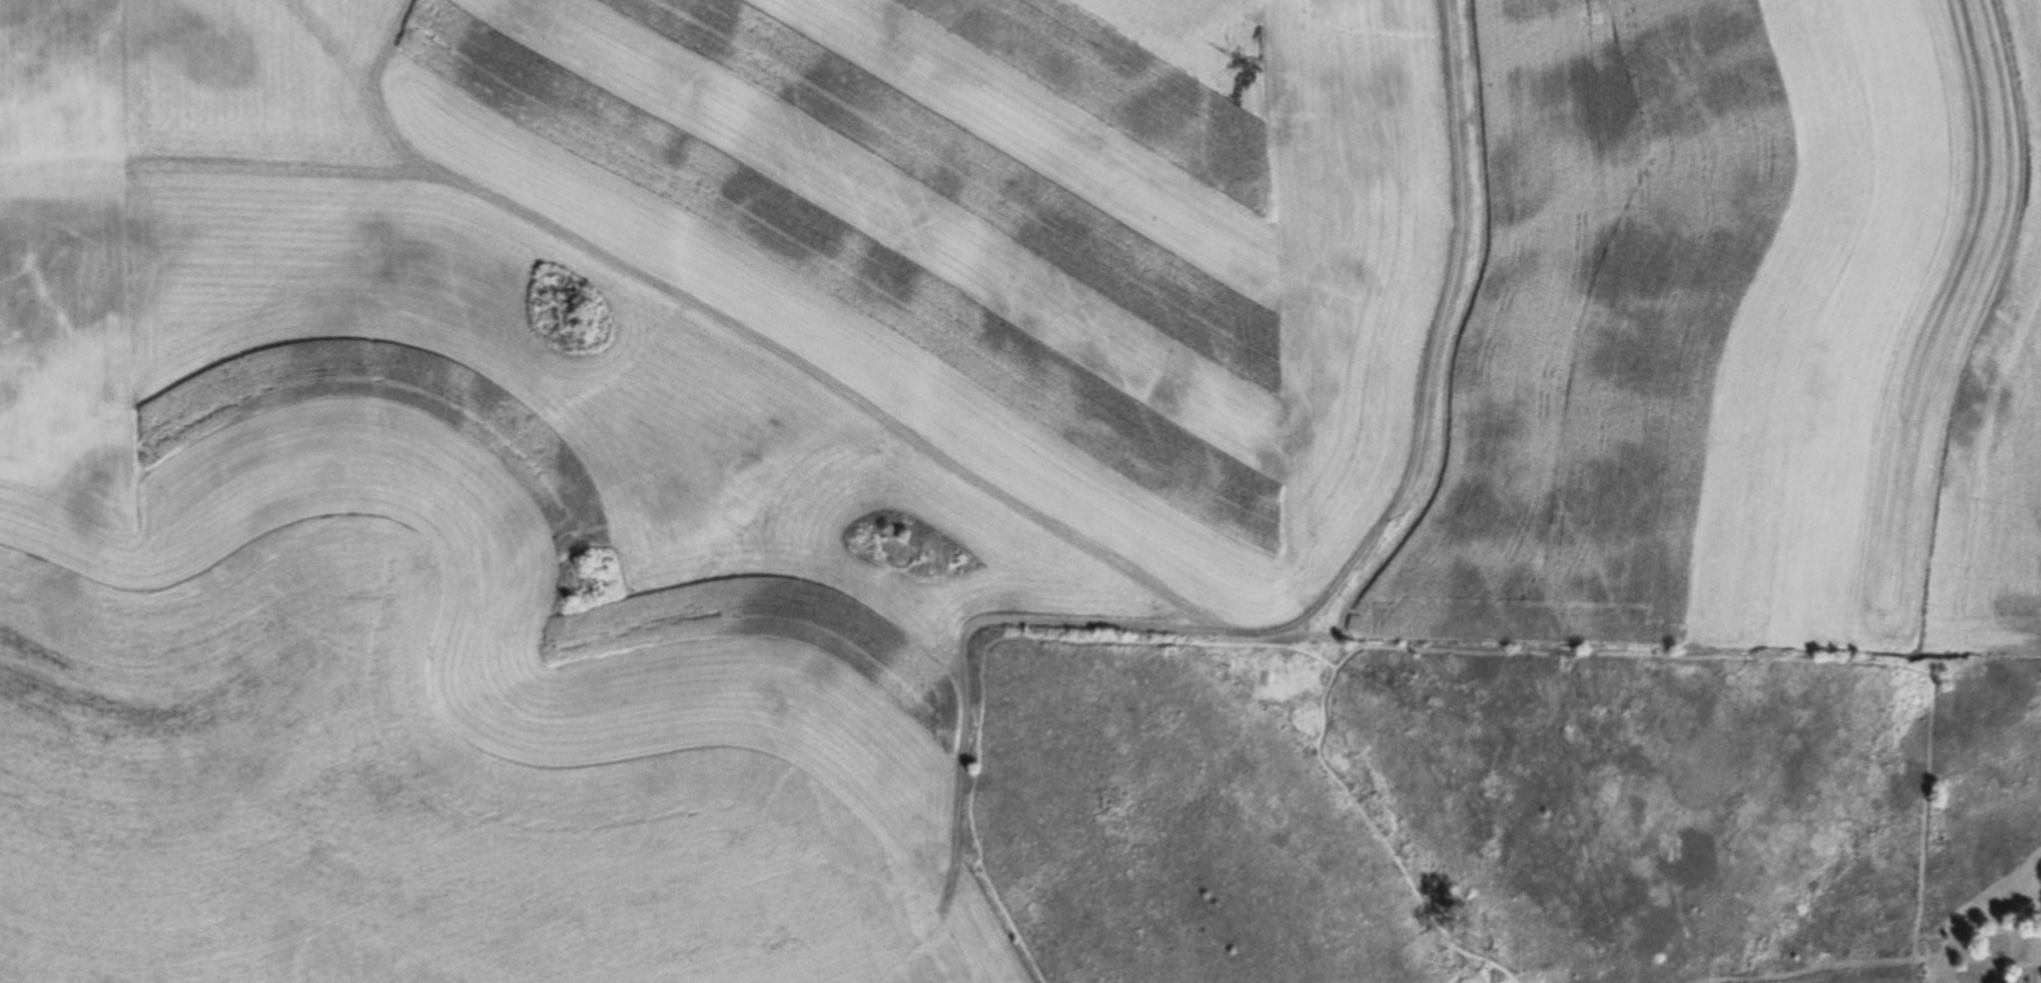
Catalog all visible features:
road: (1338, 579)

